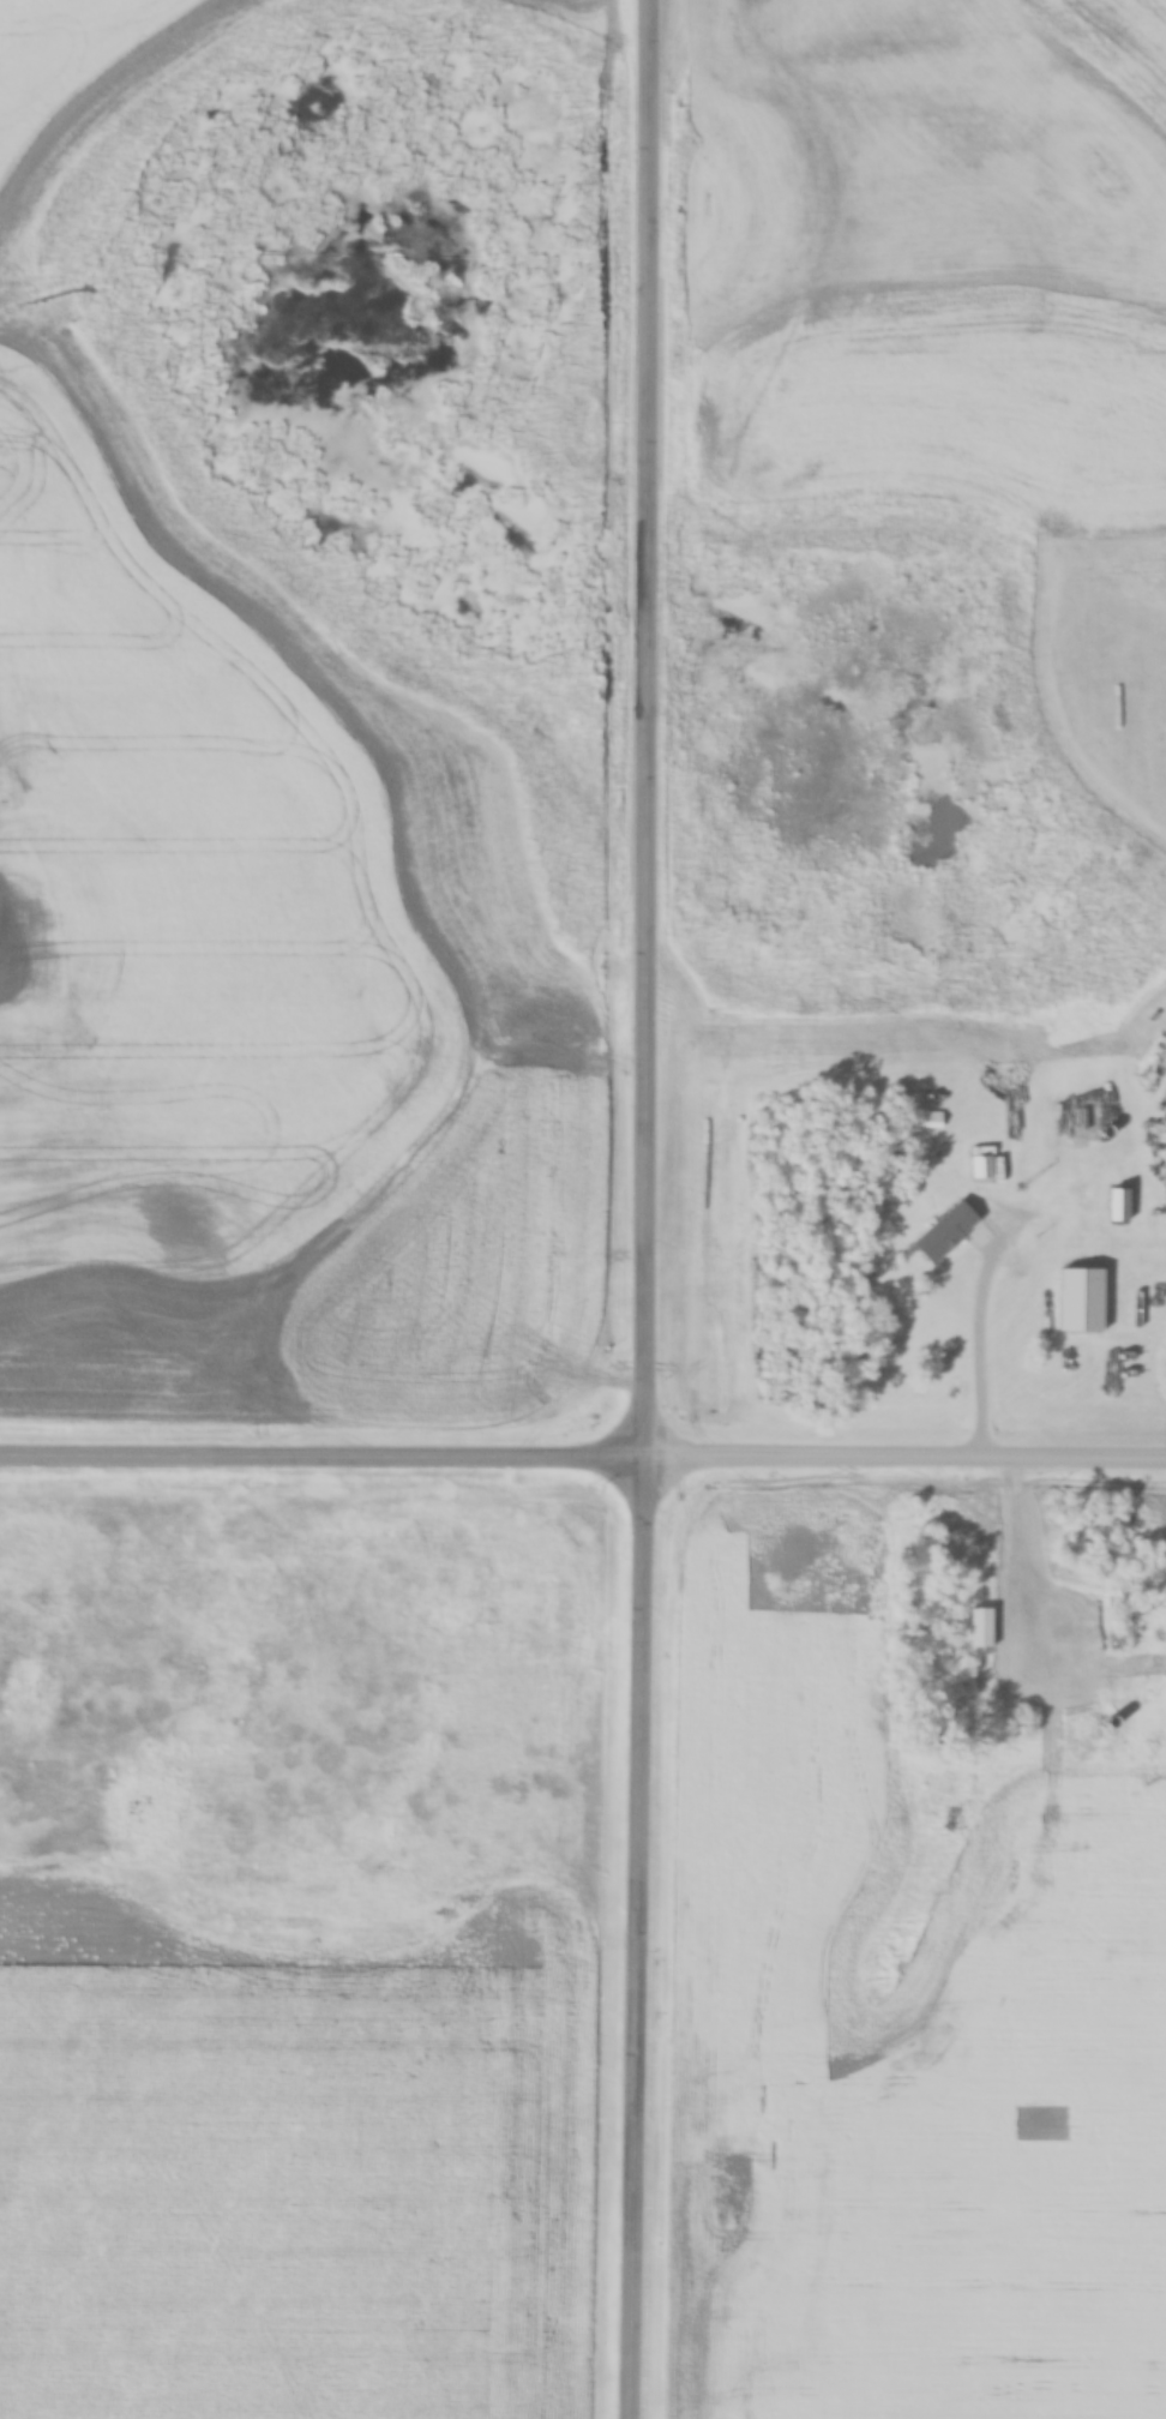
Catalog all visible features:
building: (1162, 1114)
building: (1078, 1121)
building: (979, 1165)
building: (1124, 1208)
road: (645, 1209)
building: (952, 1237)
building: (1089, 1303)
building: (1038, 1329)
road: (323, 1454)
road: (906, 1455)
building: (979, 1627)

